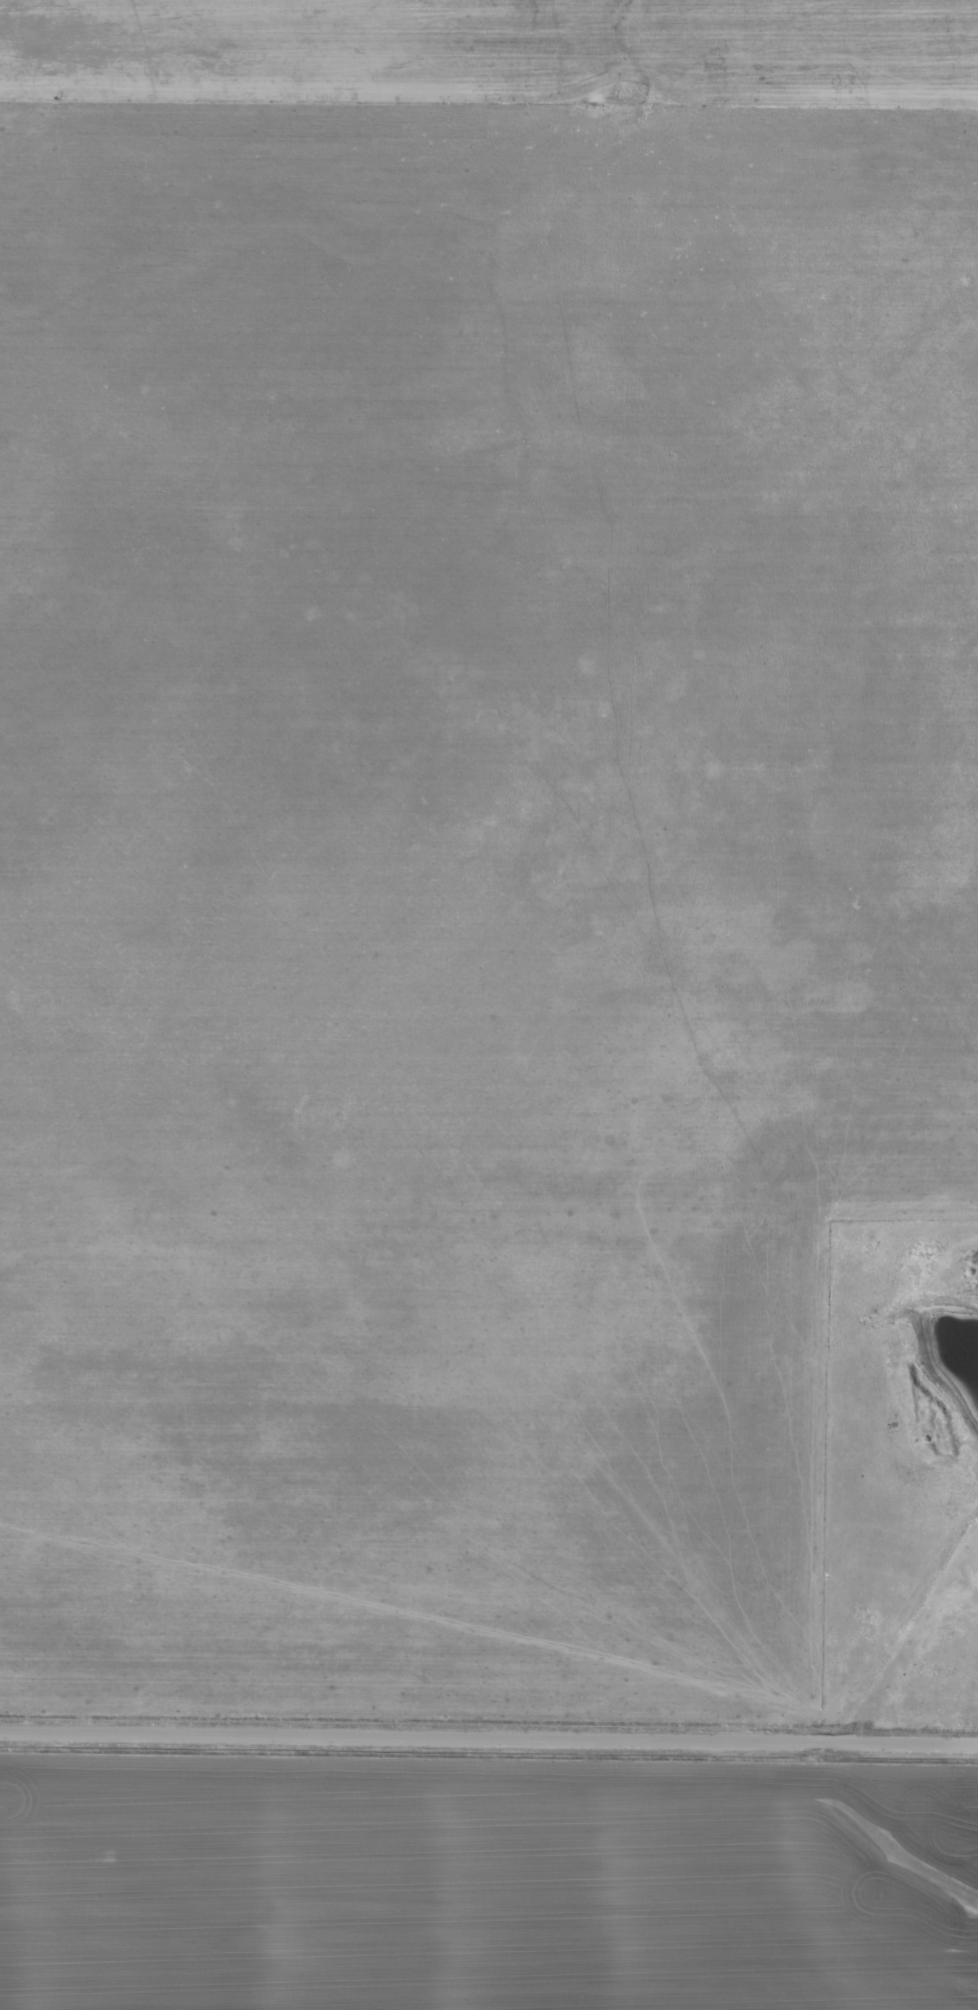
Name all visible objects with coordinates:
road: (489, 1753)

